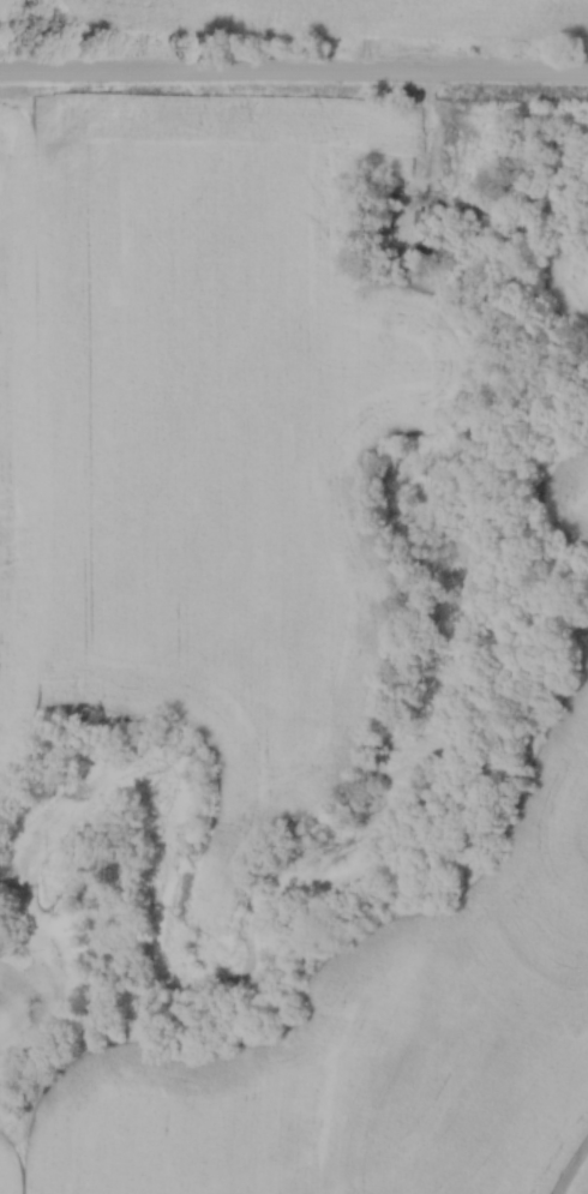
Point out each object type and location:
road: (294, 72)

